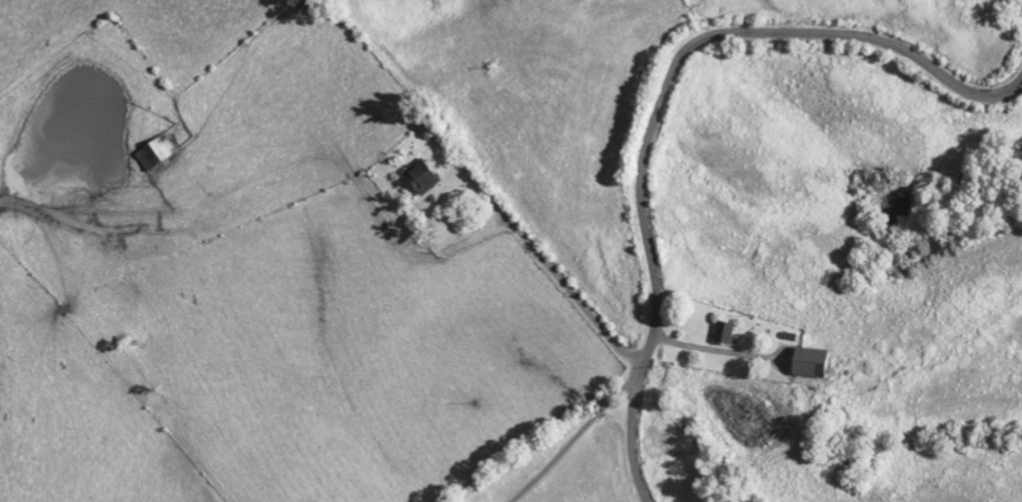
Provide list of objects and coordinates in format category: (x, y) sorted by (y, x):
road: (665, 101)
building: (156, 154)
building: (422, 179)
road: (541, 233)
road: (418, 257)
building: (724, 333)
building: (809, 362)
road: (575, 450)

